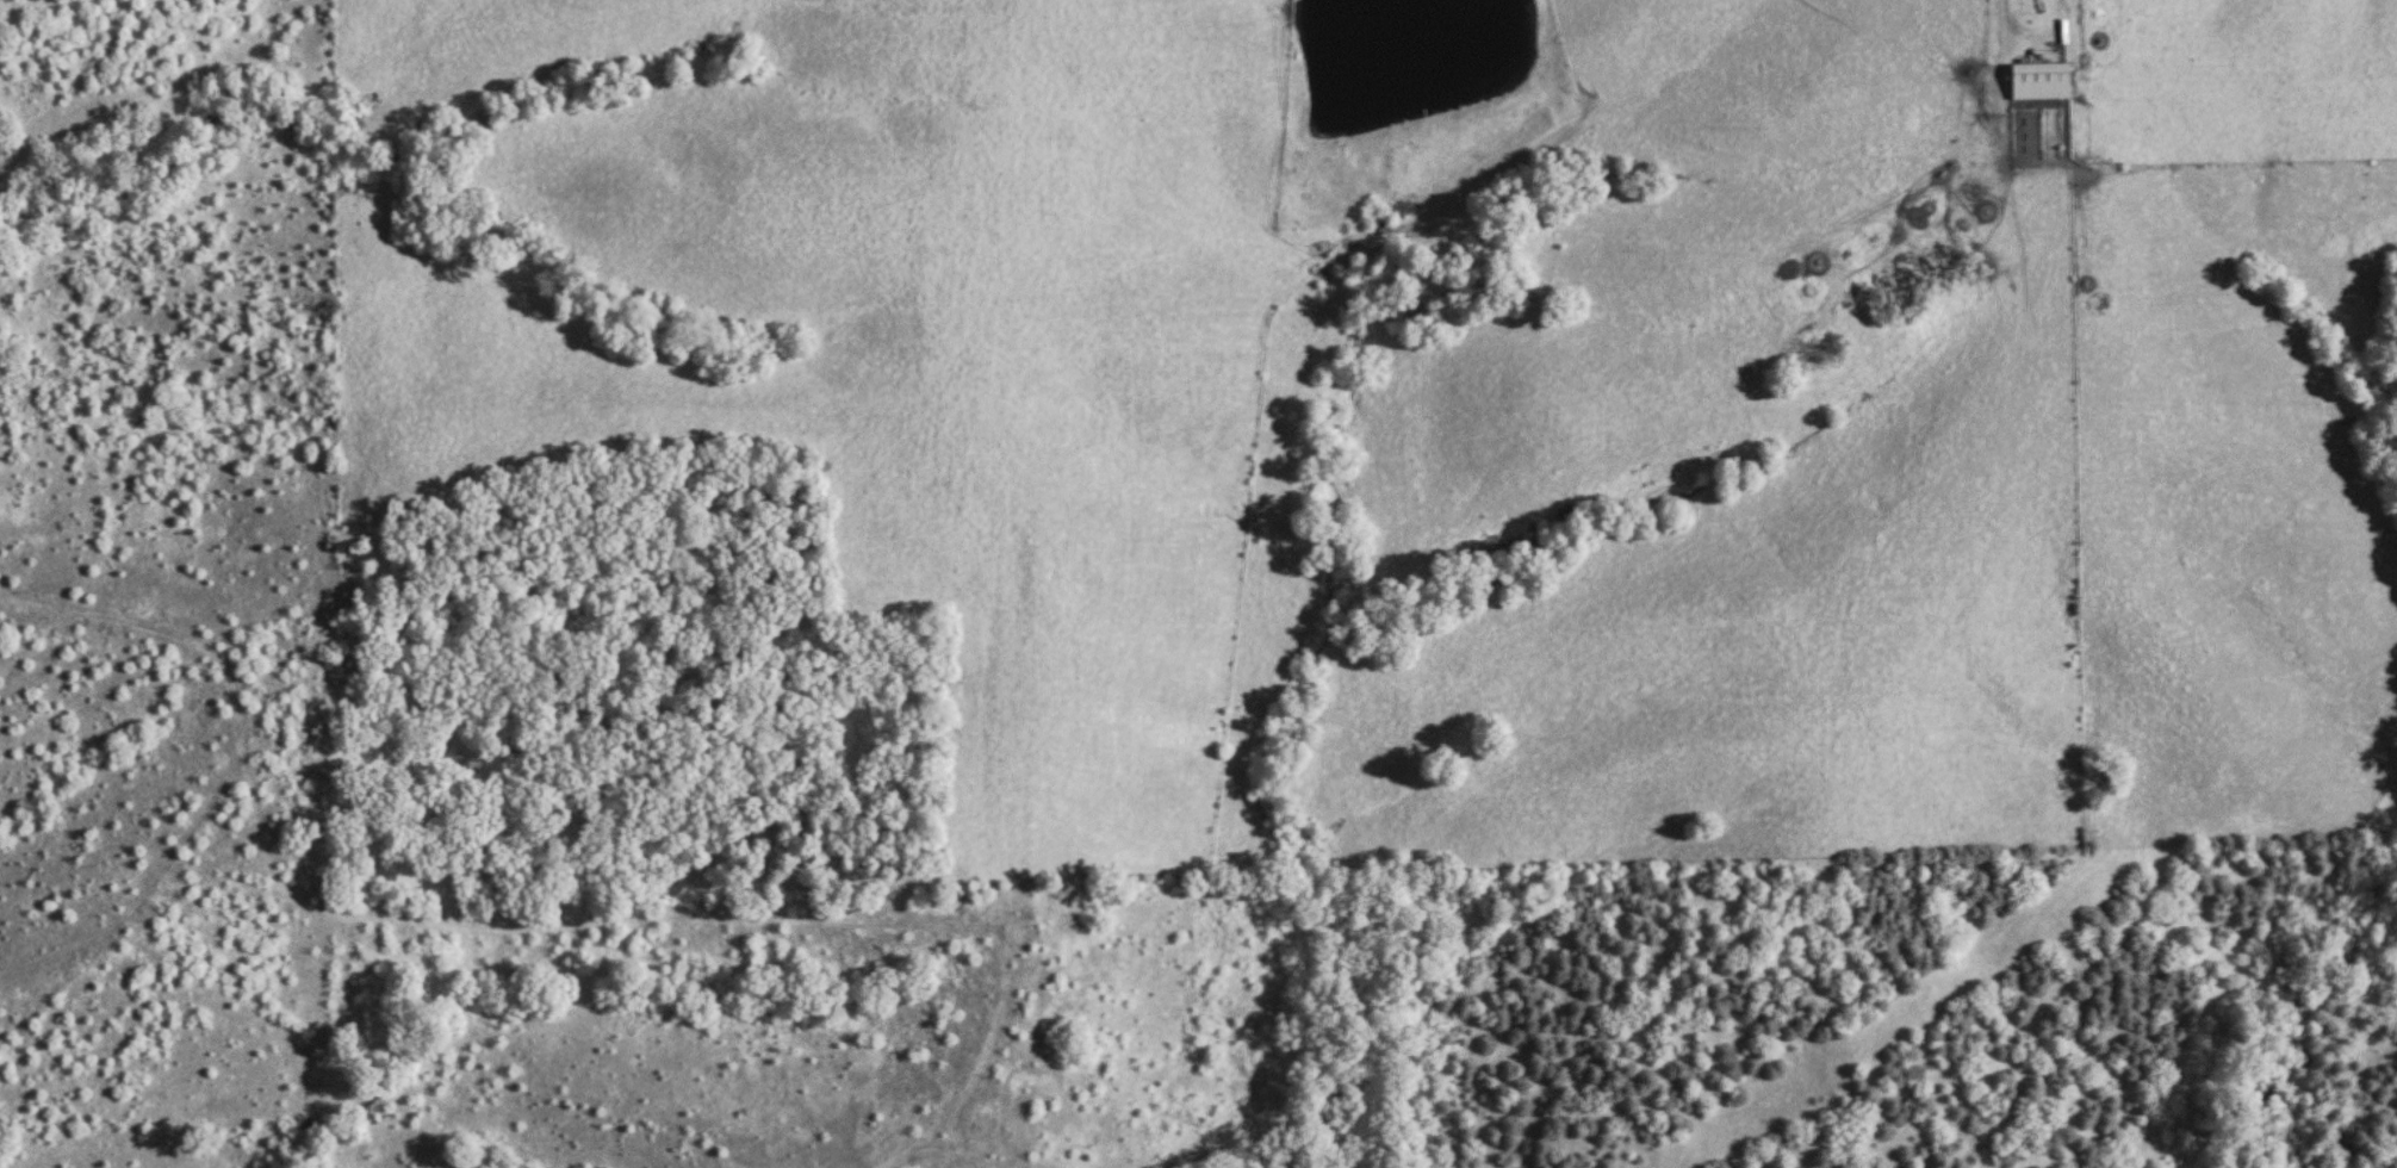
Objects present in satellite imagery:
building: (2042, 81)

